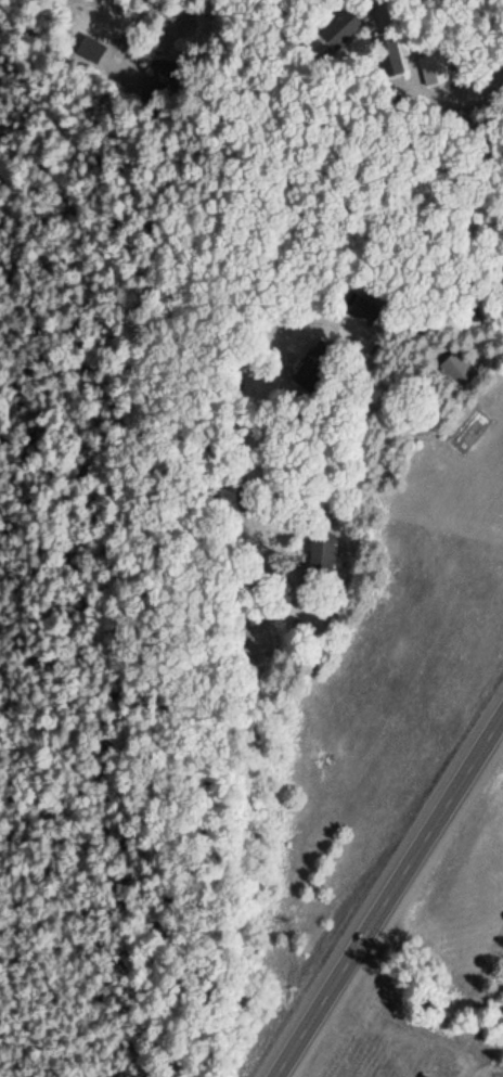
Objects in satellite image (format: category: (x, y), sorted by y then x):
building: (341, 29)
building: (313, 366)
building: (456, 369)
building: (324, 551)
road: (392, 898)

